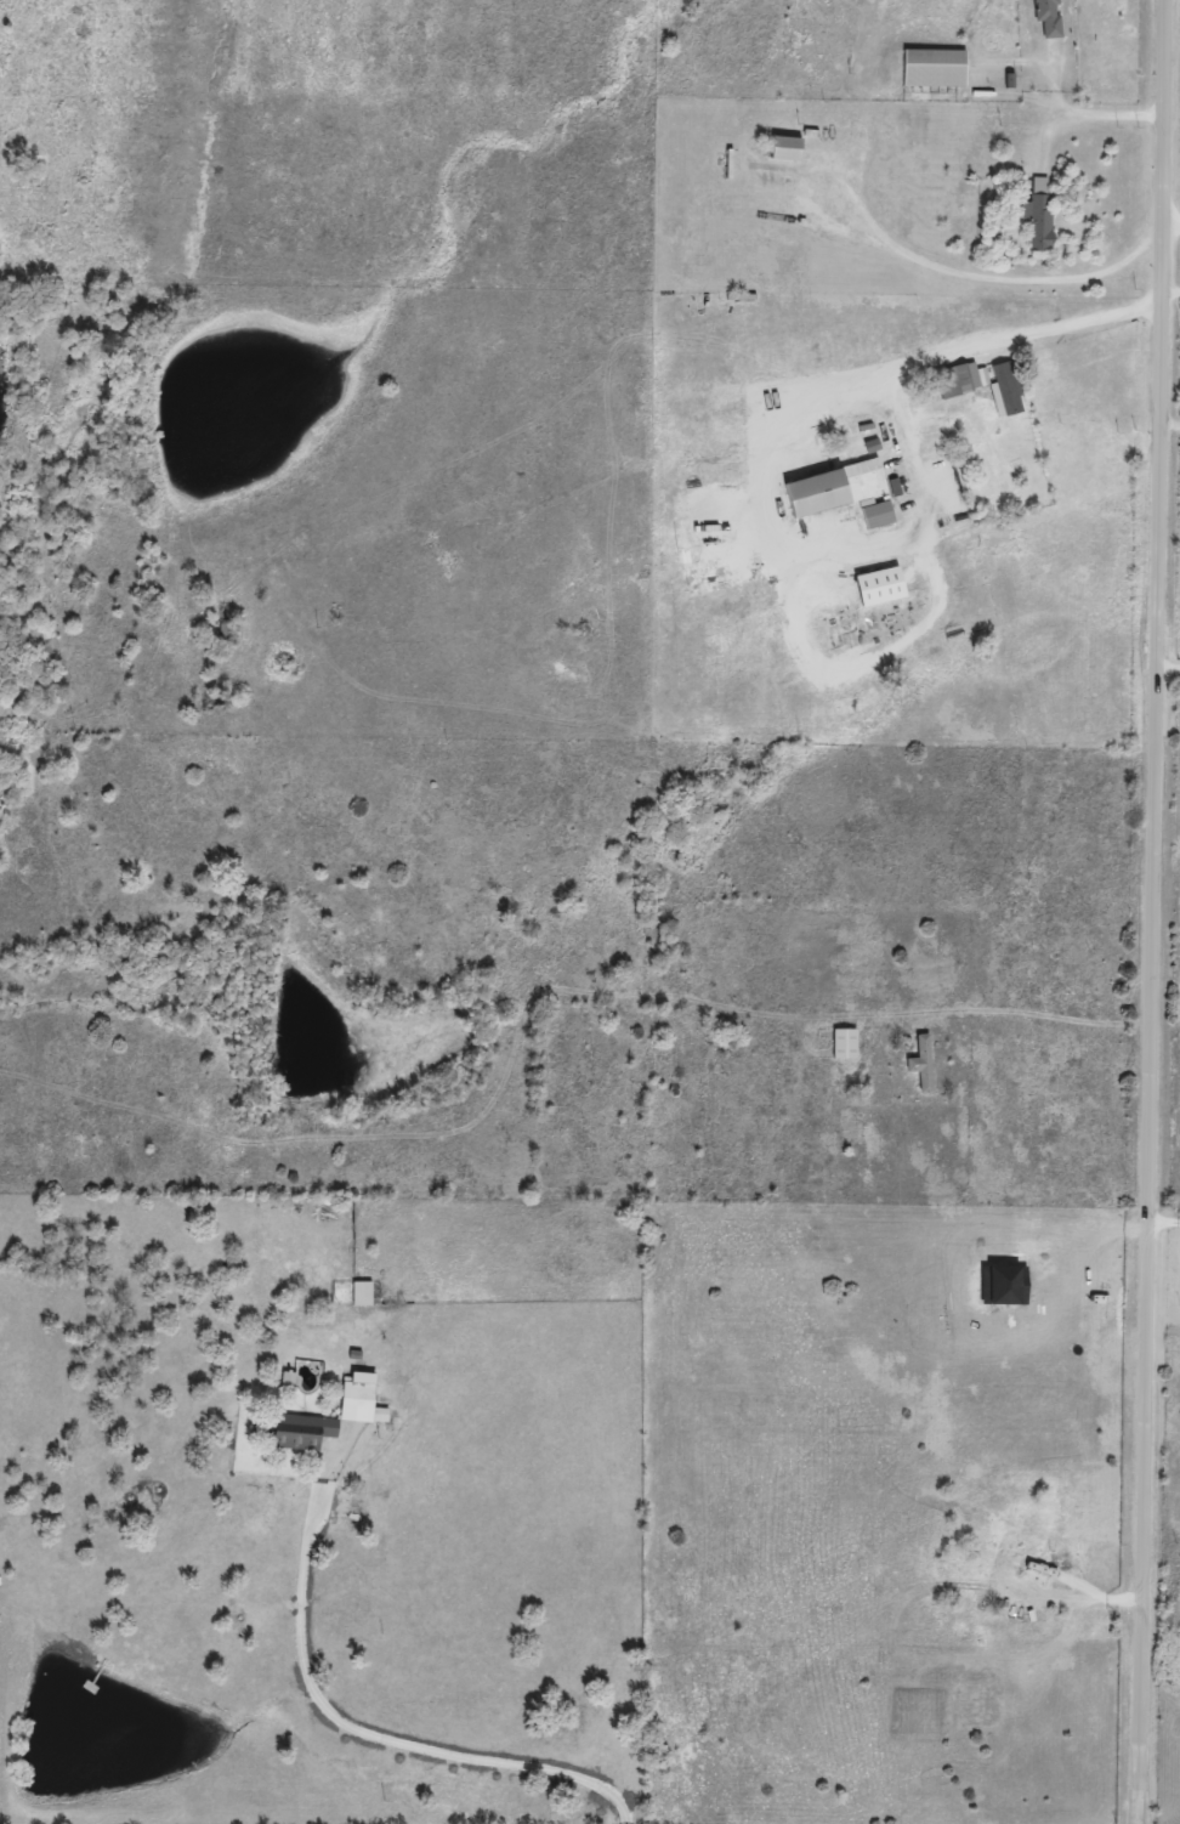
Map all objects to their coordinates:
building: (1050, 17)
building: (936, 68)
road: (1117, 115)
building: (788, 148)
building: (1040, 221)
road: (1175, 227)
road: (917, 256)
road: (1174, 299)
road: (1008, 341)
building: (955, 381)
building: (1009, 389)
building: (836, 488)
building: (879, 515)
road: (857, 555)
road: (1172, 665)
road: (847, 673)
road: (1159, 912)
road: (1000, 1012)
building: (846, 1042)
building: (924, 1061)
building: (364, 1292)
building: (359, 1393)
building: (263, 1426)
building: (305, 1431)
building: (1065, 1571)
road: (1059, 1642)
road: (365, 1729)

